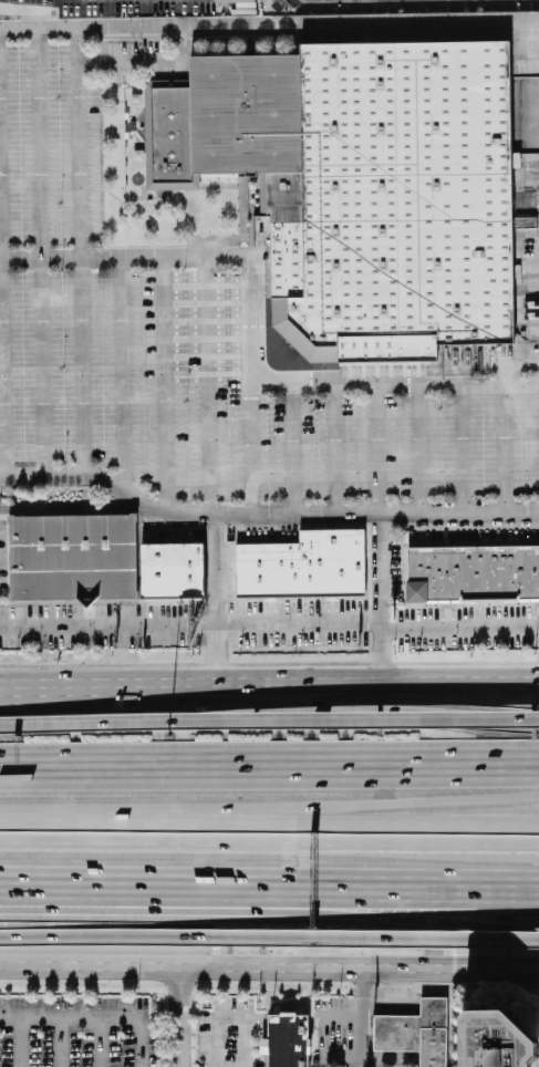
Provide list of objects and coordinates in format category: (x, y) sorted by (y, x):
building: (239, 2)
road: (175, 31)
road: (56, 33)
road: (406, 33)
road: (18, 34)
building: (363, 187)
road: (79, 253)
road: (39, 255)
road: (251, 340)
road: (1, 345)
road: (122, 375)
road: (165, 385)
road: (207, 386)
road: (376, 447)
road: (418, 447)
road: (463, 447)
road: (505, 447)
road: (252, 448)
road: (293, 448)
road: (335, 448)
road: (265, 516)
building: (73, 558)
building: (173, 566)
building: (305, 566)
building: (473, 576)
road: (219, 600)
road: (380, 600)
road: (269, 629)
road: (272, 685)
road: (3, 688)
road: (272, 707)
road: (281, 723)
road: (12, 727)
road: (269, 770)
road: (488, 810)
road: (269, 815)
road: (190, 843)
road: (460, 846)
road: (459, 853)
road: (269, 889)
road: (269, 915)
road: (108, 939)
road: (379, 939)
road: (269, 970)
road: (94, 1018)
road: (179, 1018)
road: (230, 1018)
road: (340, 1018)
road: (363, 1018)
building: (411, 1032)
parking lot: (77, 1033)
building: (490, 1039)
building: (286, 1042)
road: (20, 1043)
road: (60, 1043)
road: (100, 1043)
road: (340, 1059)

